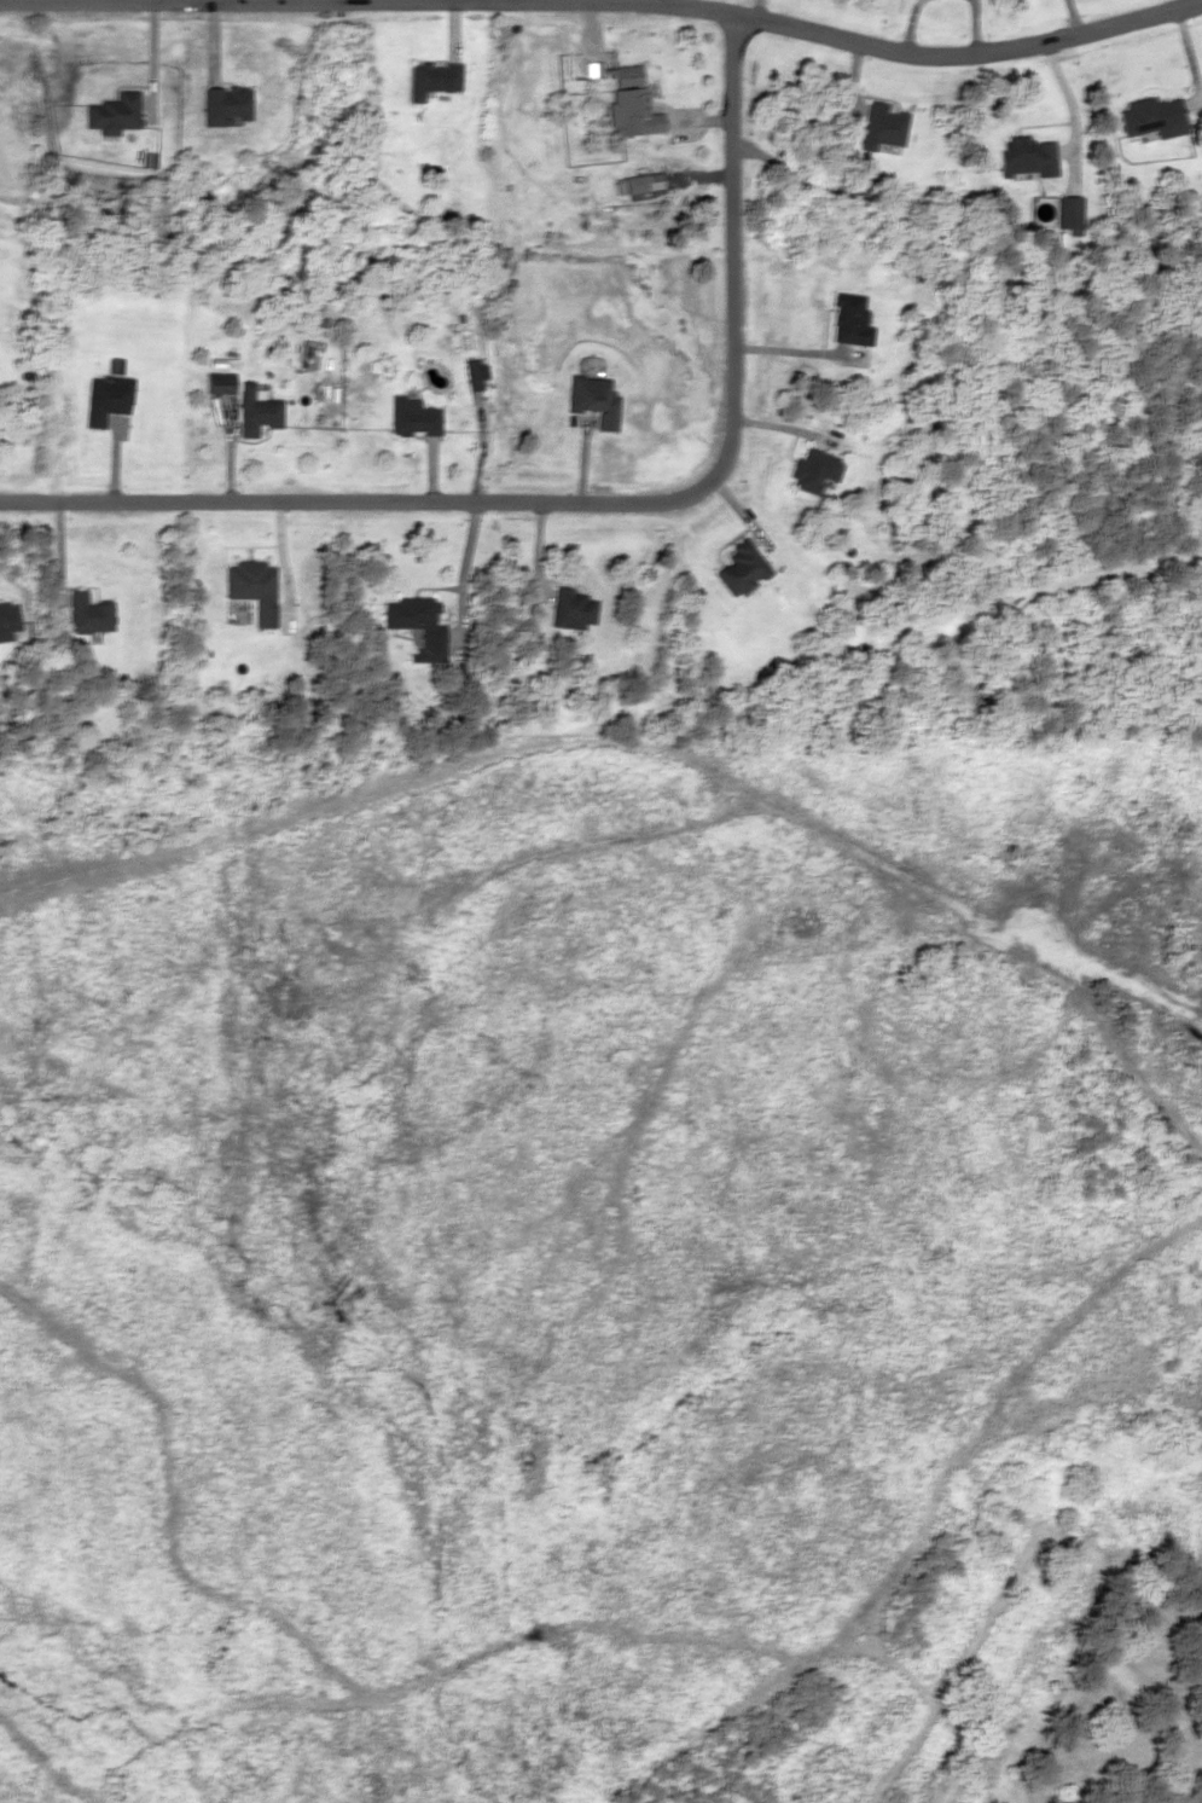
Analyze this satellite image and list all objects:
road: (193, 4)
road: (906, 56)
building: (429, 77)
building: (631, 103)
building: (111, 114)
building: (1150, 117)
building: (881, 126)
building: (1023, 156)
building: (637, 187)
building: (1064, 213)
building: (849, 320)
building: (474, 375)
building: (219, 383)
building: (105, 398)
building: (593, 399)
building: (255, 411)
building: (412, 417)
building: (812, 469)
road: (588, 502)
building: (741, 568)
building: (250, 587)
building: (571, 609)
building: (86, 614)
building: (7, 619)
building: (414, 625)

